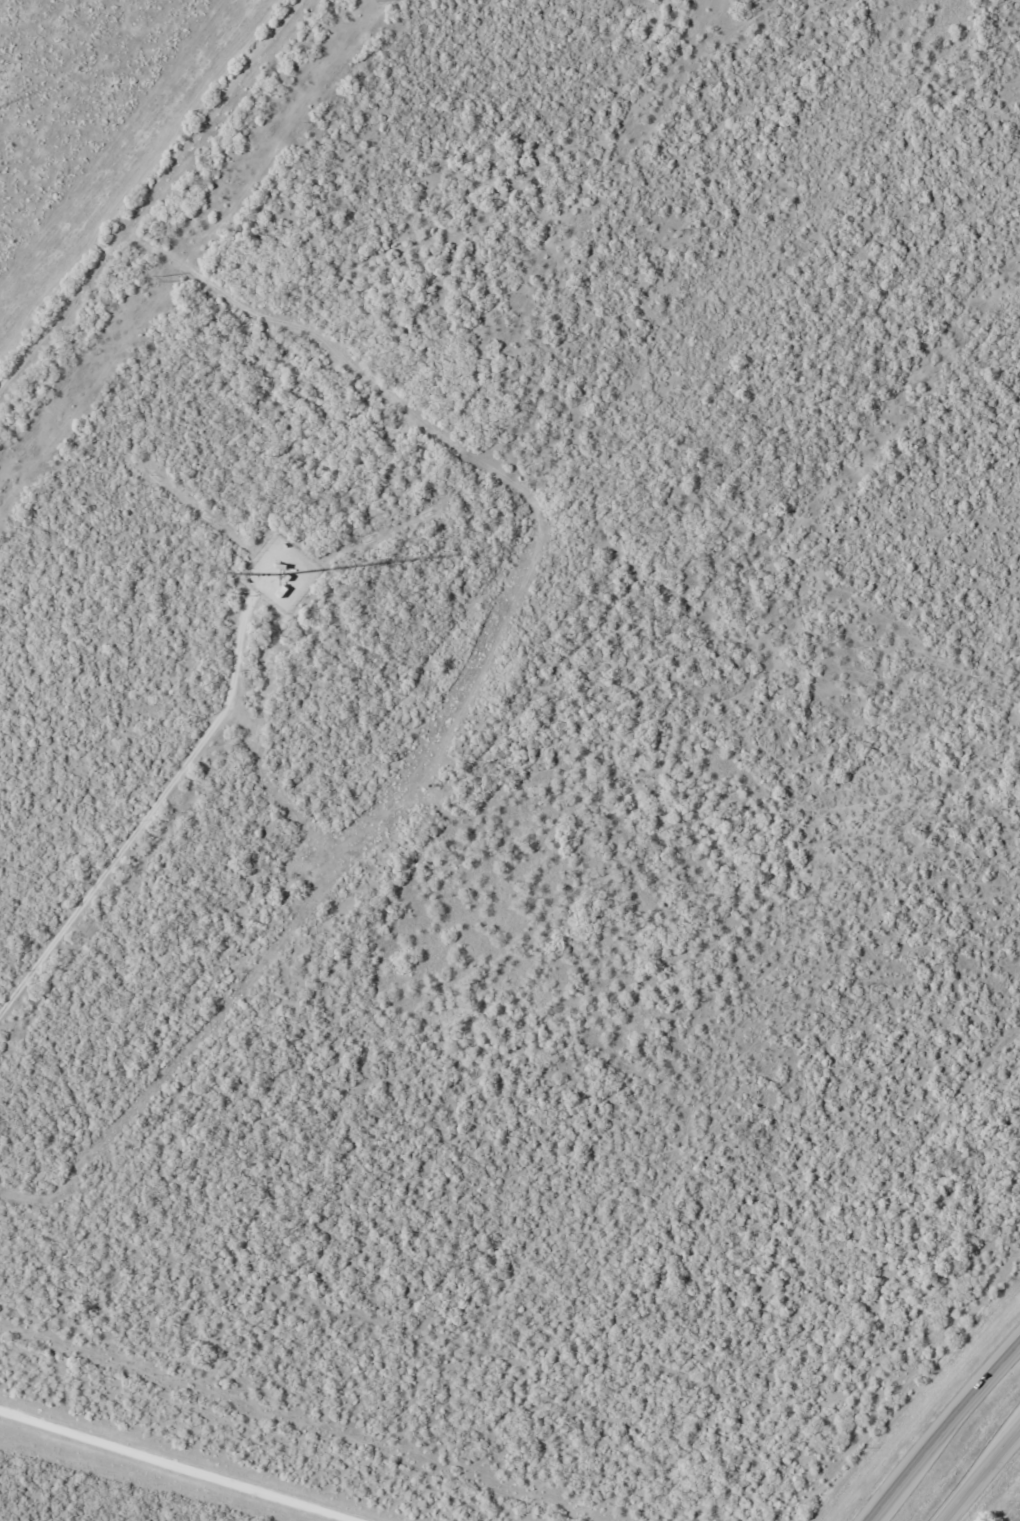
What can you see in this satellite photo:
power tower: (165, 277)
road: (946, 1433)
road: (189, 1471)
road: (989, 1485)

